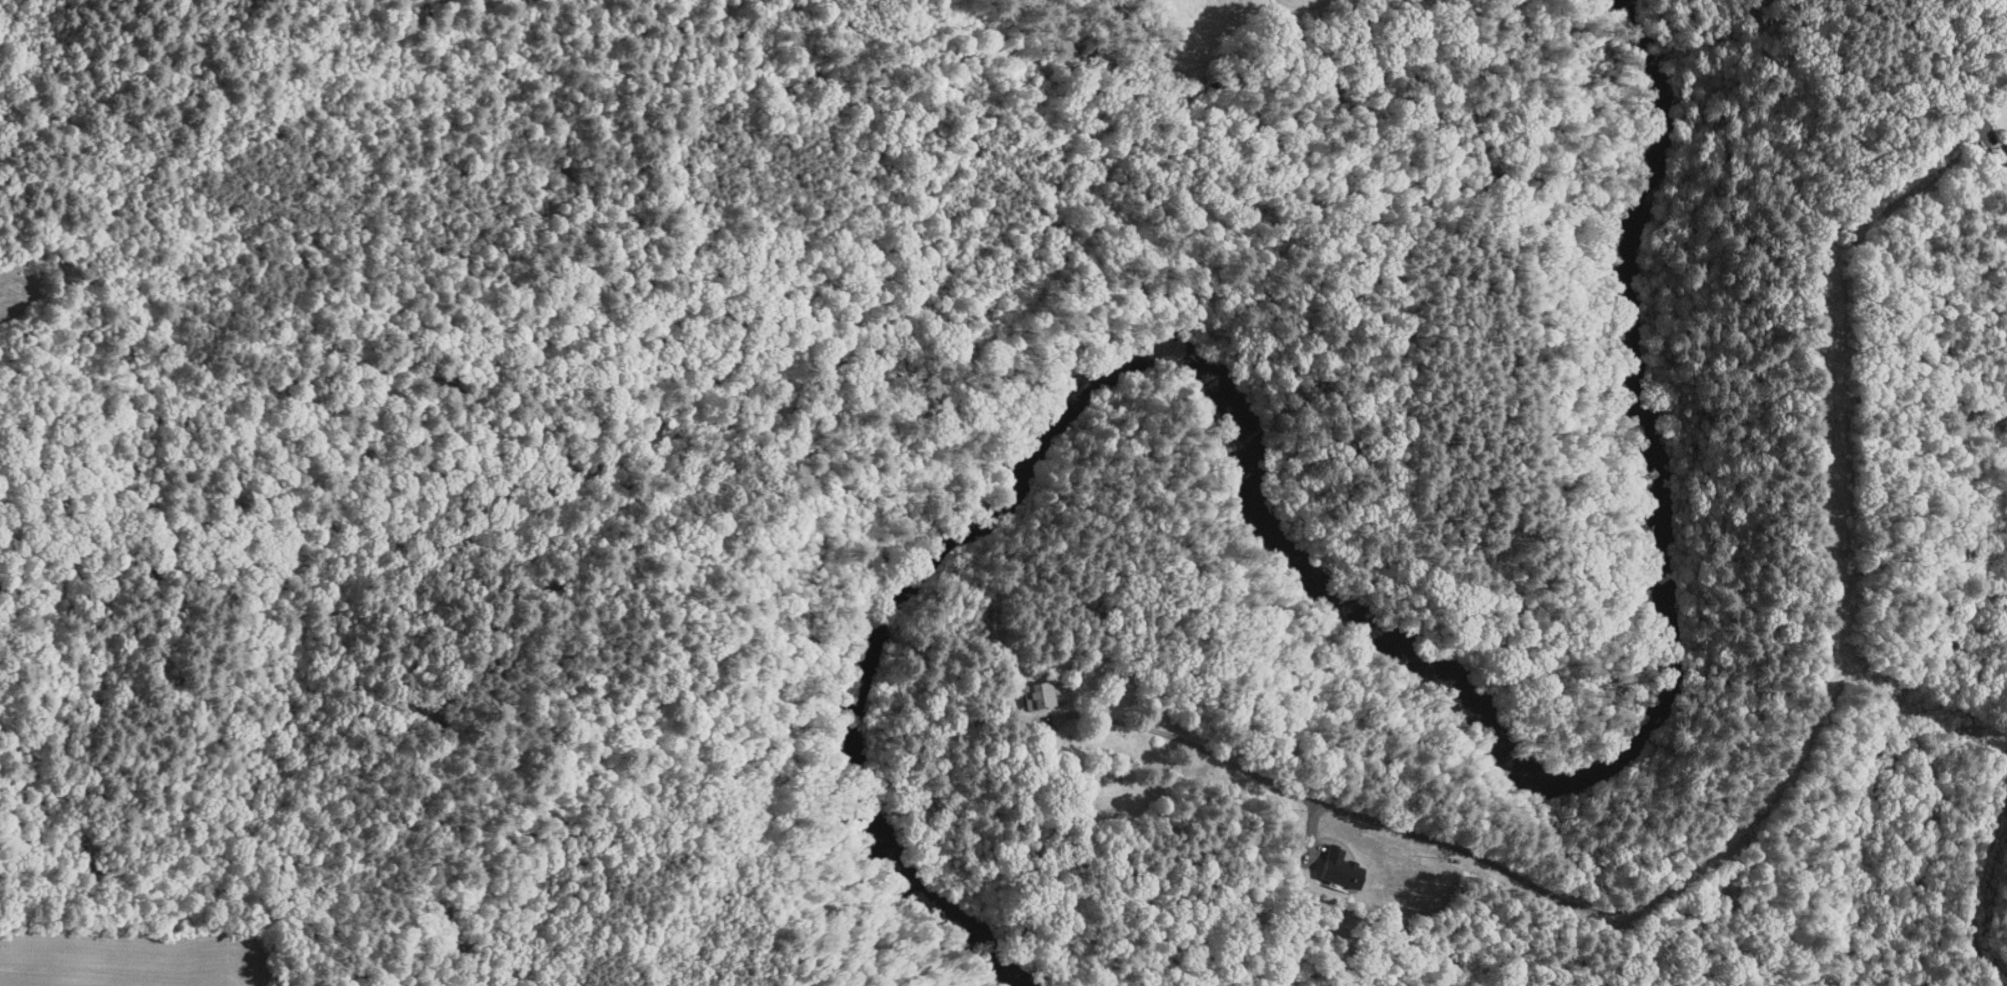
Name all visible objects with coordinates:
river: (1667, 123)
building: (2000, 140)
building: (1023, 686)
river: (1494, 726)
road: (1798, 737)
river: (874, 746)
building: (1325, 862)
road: (1969, 869)

